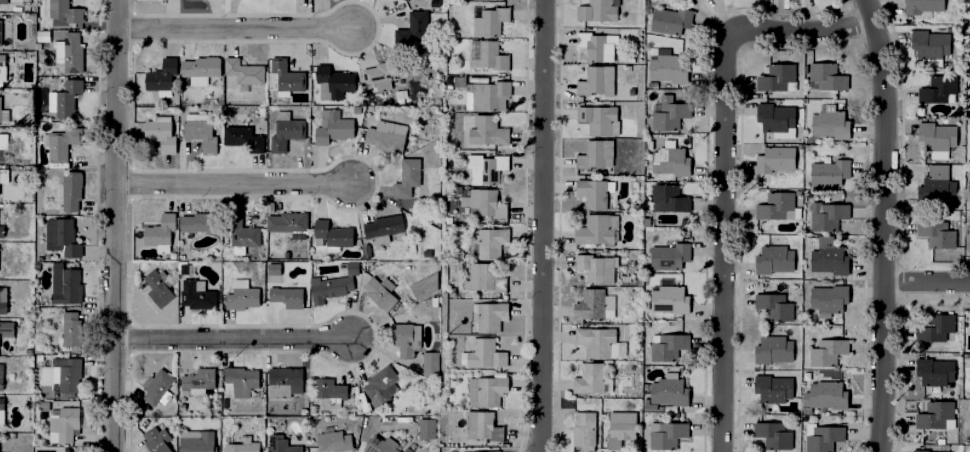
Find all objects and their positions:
building: (2, 0)
building: (191, 0)
building: (919, 4)
building: (62, 8)
building: (597, 9)
building: (488, 18)
building: (671, 19)
building: (411, 26)
building: (3, 29)
road: (234, 31)
building: (589, 43)
building: (927, 43)
building: (67, 50)
building: (486, 53)
building: (1, 58)
building: (198, 67)
building: (667, 67)
building: (242, 70)
building: (381, 72)
building: (825, 73)
building: (775, 74)
building: (160, 75)
building: (283, 75)
building: (595, 78)
building: (331, 80)
building: (934, 85)
building: (487, 91)
building: (61, 95)
building: (669, 114)
building: (775, 115)
building: (3, 116)
building: (597, 116)
building: (827, 120)
building: (332, 125)
building: (199, 128)
building: (284, 128)
building: (486, 129)
building: (159, 130)
building: (384, 133)
building: (243, 135)
building: (934, 137)
building: (59, 140)
building: (1, 153)
building: (595, 153)
building: (774, 157)
building: (670, 160)
road: (722, 164)
building: (487, 167)
building: (826, 170)
building: (3, 173)
building: (406, 175)
road: (234, 185)
building: (933, 187)
building: (68, 189)
building: (593, 190)
building: (669, 197)
building: (479, 199)
building: (774, 204)
building: (826, 211)
building: (198, 220)
building: (288, 221)
road: (113, 225)
road: (884, 225)
road: (543, 226)
building: (382, 227)
building: (595, 228)
building: (0, 229)
building: (159, 231)
building: (934, 231)
building: (240, 232)
building: (969, 232)
building: (330, 233)
building: (62, 236)
building: (489, 238)
building: (410, 245)
building: (768, 255)
building: (670, 256)
building: (826, 257)
building: (595, 266)
building: (351, 267)
building: (484, 276)
building: (64, 281)
building: (329, 284)
road: (927, 284)
building: (386, 285)
building: (423, 285)
building: (156, 286)
building: (237, 292)
building: (378, 292)
building: (195, 293)
building: (285, 295)
building: (666, 295)
building: (824, 297)
building: (2, 298)
building: (589, 303)
building: (773, 303)
building: (488, 314)
building: (969, 319)
building: (2, 325)
building: (933, 325)
building: (69, 326)
building: (405, 337)
building: (595, 338)
road: (232, 340)
building: (665, 344)
building: (770, 347)
building: (823, 348)
building: (484, 351)
building: (429, 362)
building: (968, 368)
building: (931, 370)
building: (65, 372)
building: (588, 377)
building: (0, 378)
building: (197, 378)
building: (282, 378)
building: (239, 379)
building: (382, 383)
building: (156, 385)
building: (770, 387)
building: (485, 388)
building: (666, 388)
building: (329, 390)
building: (824, 392)
building: (1, 402)
building: (969, 412)
building: (934, 419)
building: (62, 422)
building: (969, 422)
building: (481, 423)
building: (618, 426)
building: (425, 427)
building: (582, 427)
building: (664, 432)
building: (770, 432)
building: (822, 436)
building: (155, 439)
building: (329, 439)
building: (195, 443)
building: (279, 443)
building: (380, 444)
building: (241, 445)
building: (480, 450)
building: (968, 450)
building: (922, 451)

